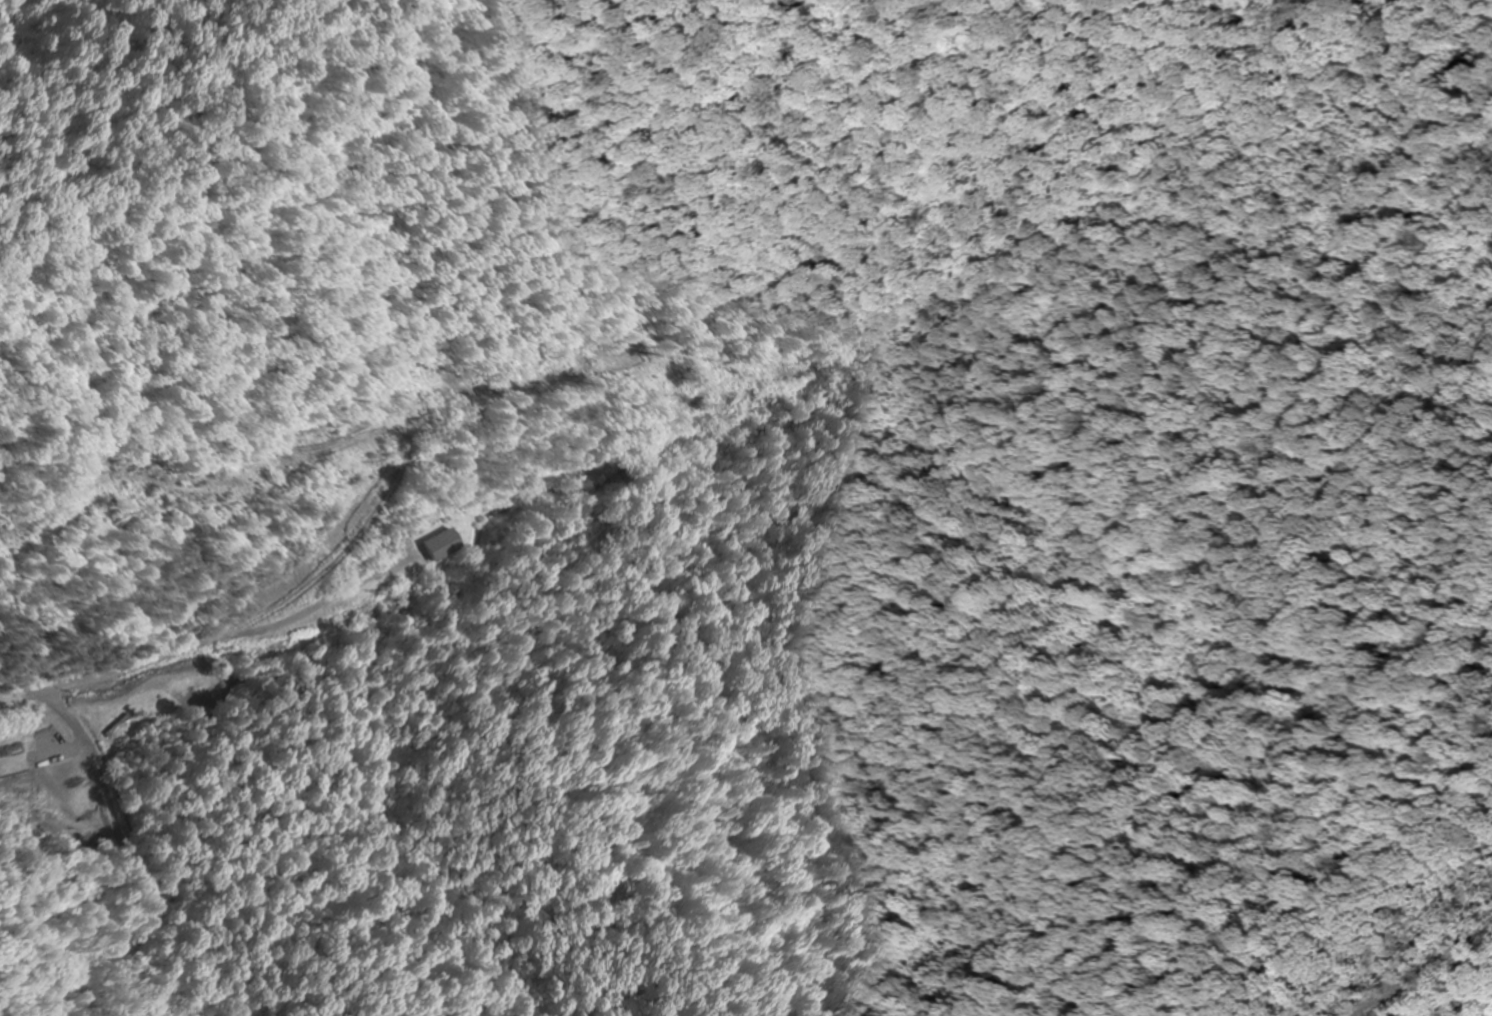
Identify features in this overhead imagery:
building: (439, 546)
road: (207, 640)
building: (117, 727)

